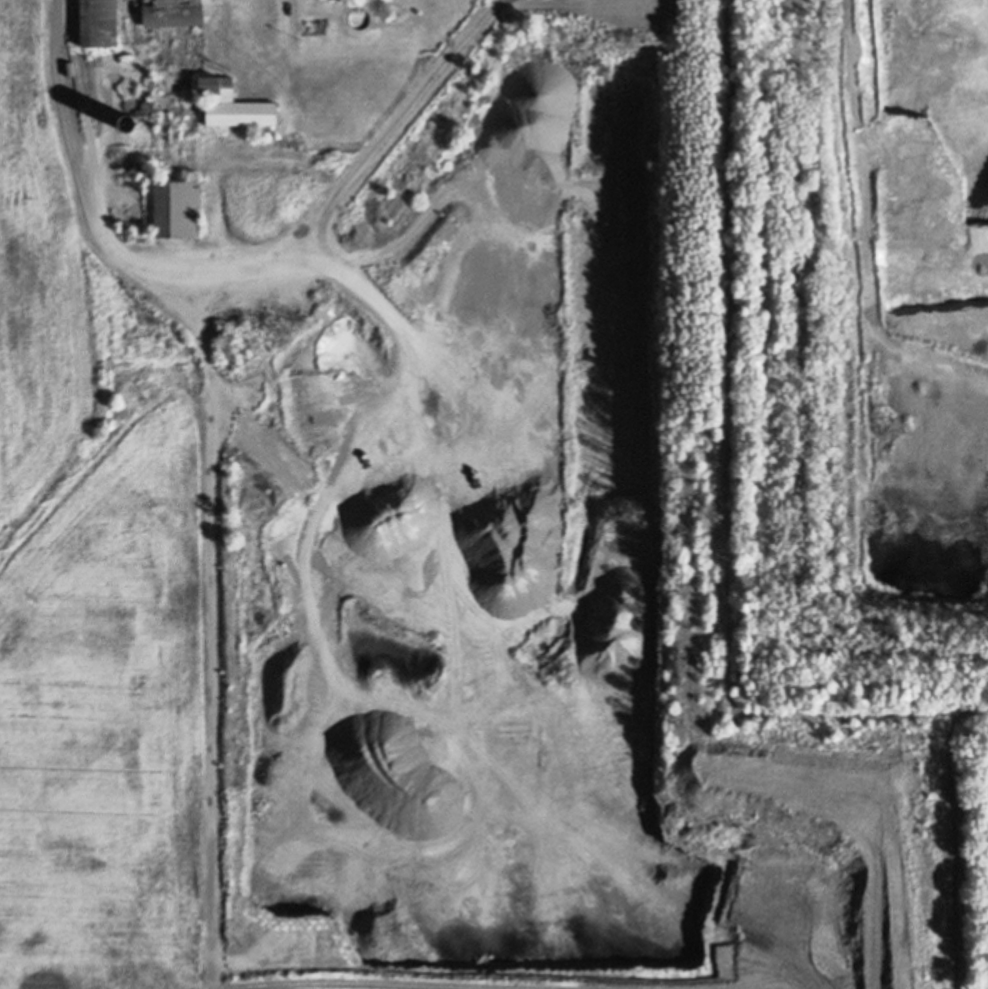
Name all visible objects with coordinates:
building: (173, 12)
building: (361, 18)
building: (100, 23)
building: (82, 78)
building: (128, 86)
building: (235, 104)
building: (134, 107)
building: (129, 124)
road: (80, 195)
building: (178, 208)
quarry: (919, 299)
road: (792, 300)
quarry: (454, 451)

